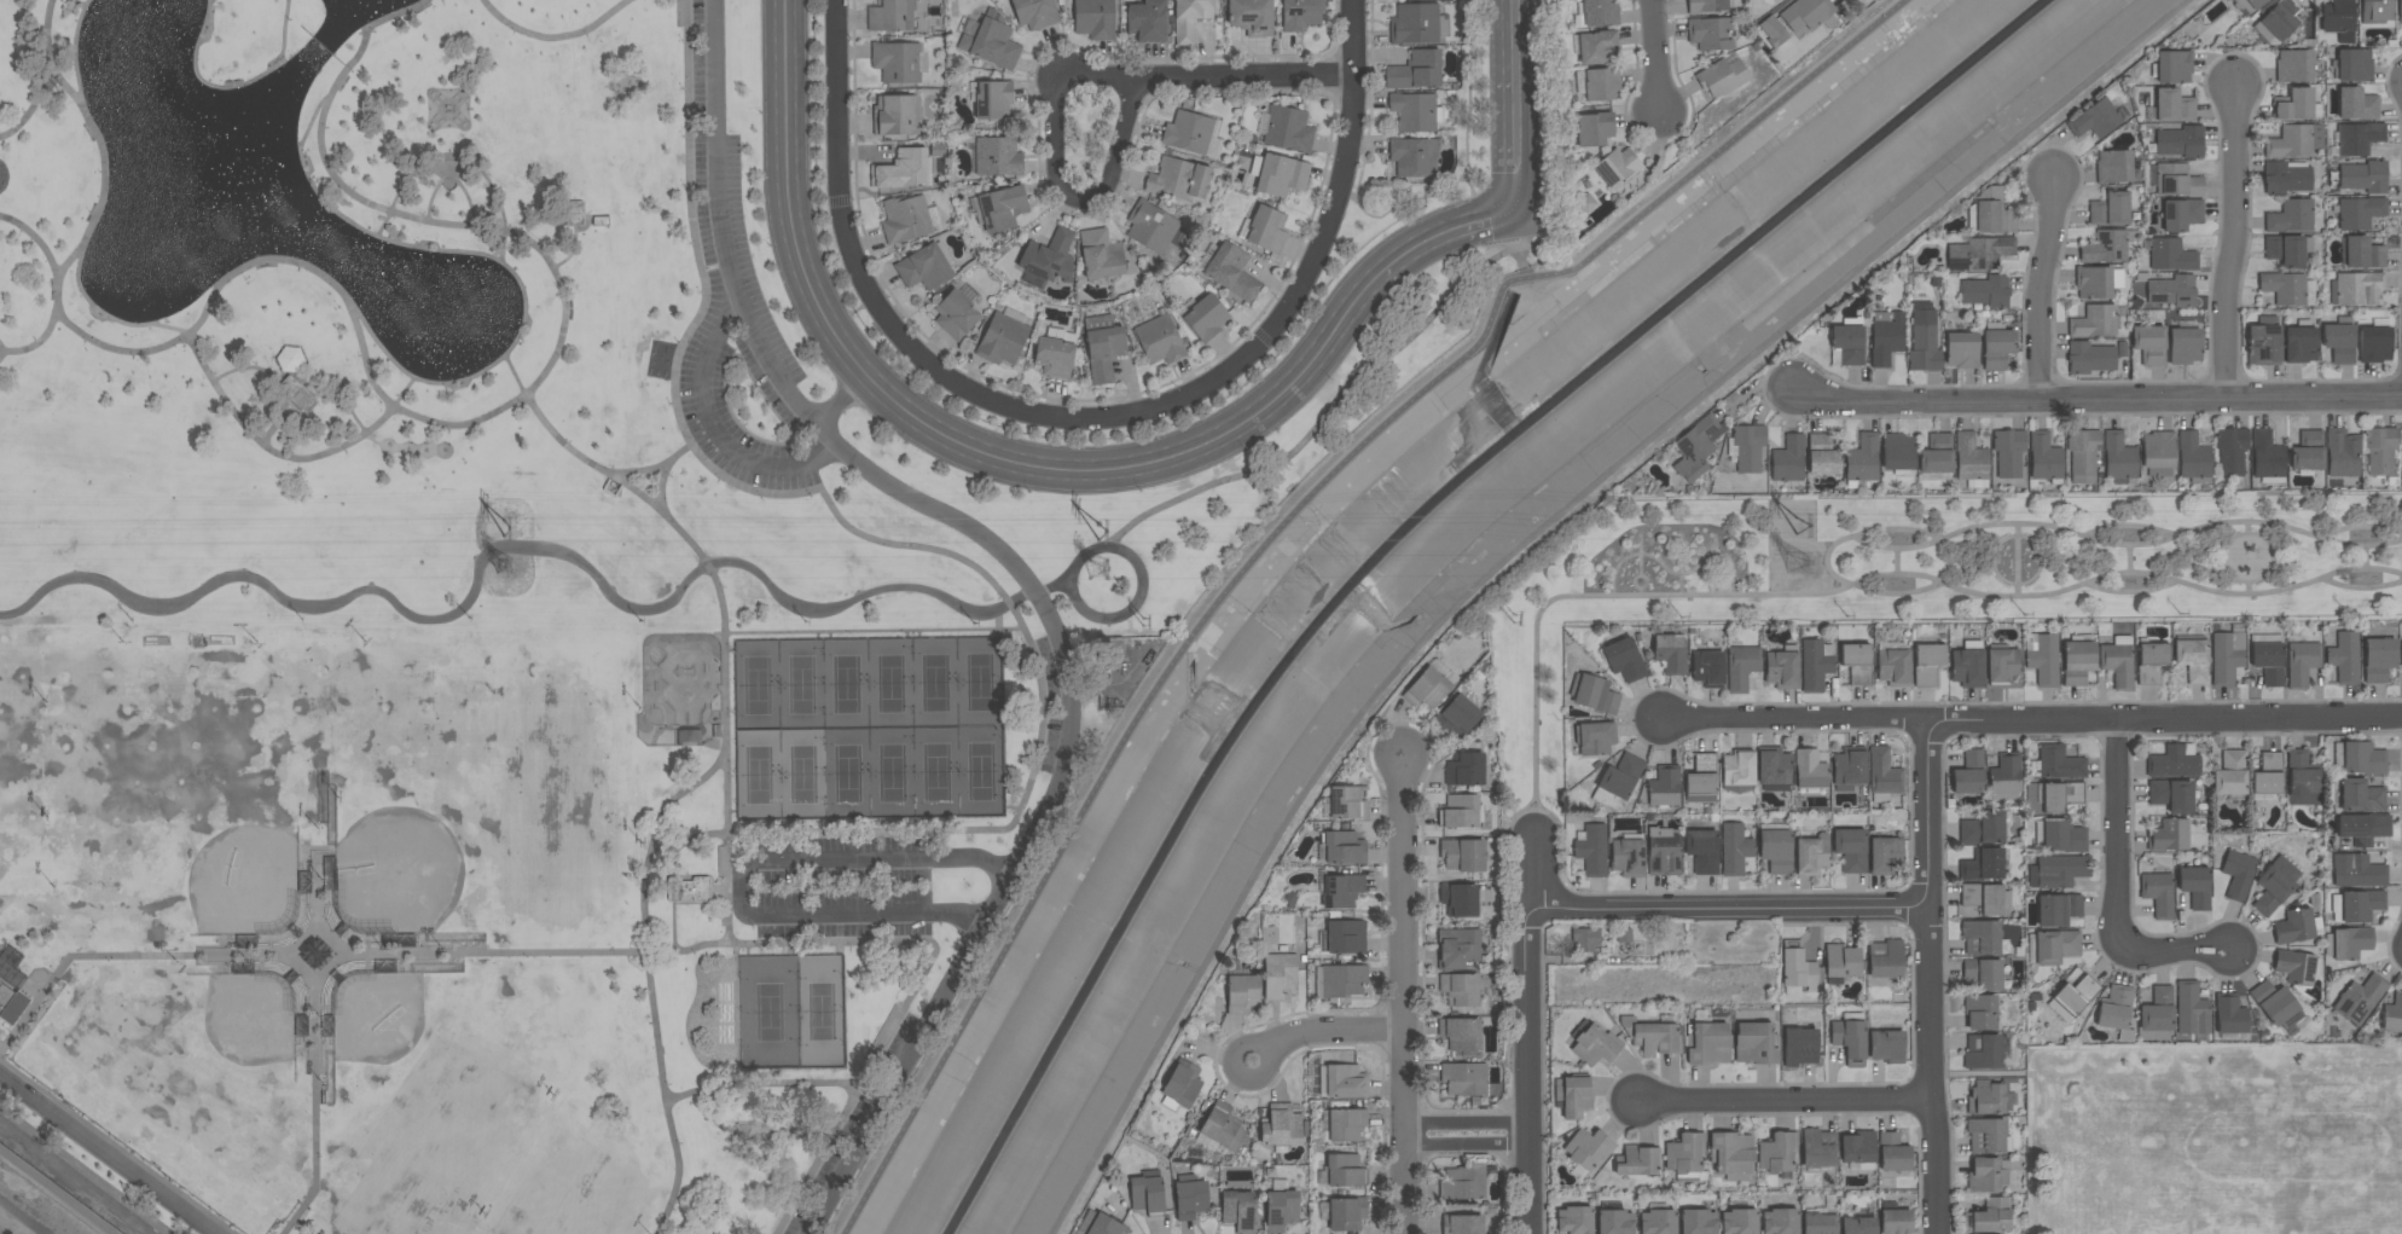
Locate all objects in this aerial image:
road: (214, 1)
road: (82, 2)
building: (2249, 5)
building: (1706, 6)
building: (2401, 11)
building: (1600, 12)
building: (1035, 13)
building: (2377, 13)
building: (1300, 15)
building: (1805, 15)
building: (887, 16)
building: (1251, 17)
building: (1095, 18)
building: (1190, 18)
building: (2339, 19)
building: (1147, 21)
building: (2279, 22)
building: (1415, 24)
building: (1710, 33)
dam: (309, 34)
road: (1514, 35)
road: (553, 37)
building: (992, 41)
building: (1597, 47)
dam: (332, 56)
road: (53, 58)
road: (1658, 58)
building: (897, 62)
building: (2354, 65)
building: (2172, 66)
building: (2294, 66)
building: (1415, 70)
road: (1062, 73)
building: (1723, 76)
road: (1243, 79)
building: (1601, 83)
road: (236, 86)
building: (993, 99)
road: (37, 102)
building: (2356, 104)
building: (2297, 105)
building: (2174, 106)
building: (1414, 111)
building: (897, 115)
building: (2094, 118)
building: (1288, 128)
building: (1595, 129)
building: (1188, 132)
building: (2357, 138)
road: (1515, 141)
building: (2181, 141)
building: (2294, 141)
building: (998, 156)
building: (1414, 156)
road: (462, 158)
building: (1617, 167)
building: (2114, 167)
building: (901, 169)
building: (1281, 175)
building: (2287, 176)
building: (2365, 176)
road: (454, 178)
building: (1179, 179)
building: (2175, 180)
building: (1586, 203)
road: (100, 205)
building: (1002, 208)
building: (2111, 209)
building: (574, 213)
building: (2360, 213)
building: (2181, 214)
building: (2291, 216)
building: (1995, 218)
building: (907, 219)
parking lot: (730, 221)
building: (1151, 226)
building: (1266, 230)
road: (1443, 232)
road: (1521, 244)
road: (2233, 244)
building: (2108, 245)
road: (570, 249)
building: (2288, 250)
building: (1979, 253)
building: (2362, 253)
building: (1101, 254)
building: (2170, 254)
building: (1049, 257)
building: (924, 267)
building: (1232, 272)
building: (2098, 282)
road: (524, 285)
road: (2041, 289)
building: (2288, 289)
building: (2357, 289)
building: (1986, 291)
building: (2172, 291)
road: (568, 300)
road: (57, 315)
building: (956, 315)
building: (1206, 318)
road: (68, 321)
building: (2094, 321)
building: (1886, 337)
building: (1160, 338)
building: (1002, 340)
building: (2340, 341)
building: (2375, 341)
building: (1851, 342)
building: (2264, 342)
building: (2301, 343)
building: (1924, 344)
building: (2149, 344)
building: (1997, 346)
building: (2185, 346)
building: (1103, 347)
building: (1962, 349)
road: (2, 352)
building: (1056, 352)
building: (2089, 358)
building: (290, 359)
road: (279, 380)
road: (343, 386)
building: (296, 395)
road: (841, 400)
road: (2099, 401)
parking lot: (729, 417)
road: (1084, 421)
road: (713, 430)
road: (955, 441)
building: (1696, 447)
building: (1747, 447)
building: (2380, 450)
building: (2232, 451)
building: (2308, 451)
building: (2009, 452)
building: (2158, 452)
building: (1898, 453)
building: (2343, 453)
building: (1822, 454)
building: (1937, 454)
building: (2083, 454)
road: (286, 456)
building: (2268, 457)
building: (2046, 458)
building: (2119, 458)
building: (2194, 458)
building: (2401, 458)
building: (1862, 459)
building: (1788, 462)
building: (1971, 462)
road: (667, 464)
road: (637, 473)
building: (2400, 477)
power tower: (1804, 526)
road: (1281, 527)
road: (2129, 528)
road: (2361, 528)
power tower: (510, 529)
road: (2250, 531)
power tower: (1108, 534)
road: (1682, 540)
road: (1677, 548)
road: (2125, 548)
road: (907, 549)
road: (1716, 549)
road: (1642, 555)
road: (2129, 558)
road: (2365, 558)
road: (2018, 561)
road: (1827, 562)
road: (1896, 562)
road: (1713, 567)
road: (2273, 567)
power tower: (1799, 568)
power tower: (510, 569)
road: (1676, 573)
power tower: (1097, 575)
road: (1682, 577)
road: (1638, 578)
park: (1922, 578)
road: (1858, 580)
road: (1716, 586)
road: (2018, 586)
road: (1029, 587)
road: (2249, 590)
road: (1641, 592)
road: (2359, 592)
road: (776, 595)
road: (2129, 595)
road: (721, 606)
road: (1129, 610)
park: (509, 628)
building: (1110, 648)
building: (1670, 653)
building: (2401, 653)
building: (2226, 656)
building: (2344, 657)
building: (1624, 659)
building: (2042, 659)
building: (2192, 659)
building: (2378, 659)
building: (2077, 661)
building: (2117, 661)
building: (1856, 662)
building: (2151, 662)
building: (2268, 662)
building: (2301, 662)
building: (1815, 664)
building: (1927, 664)
building: (2002, 664)
building: (1892, 666)
building: (1707, 667)
building: (1741, 667)
building: (1967, 667)
building: (1781, 670)
road: (1096, 680)
building: (1427, 688)
park: (679, 690)
building: (1595, 695)
parking lot: (1050, 706)
building: (1457, 716)
road: (2031, 724)
park: (870, 730)
building: (1595, 737)
building: (2362, 758)
building: (2174, 761)
park: (13, 763)
building: (2058, 763)
building: (1847, 769)
building: (1464, 770)
building: (1773, 770)
building: (1809, 770)
building: (1737, 772)
building: (1882, 772)
building: (1968, 774)
building: (2229, 774)
building: (1620, 776)
building: (2267, 777)
building: (1701, 778)
building: (2004, 778)
building: (2301, 780)
building: (1663, 788)
park: (478, 794)
building: (2171, 795)
building: (2360, 795)
building: (2073, 796)
building: (2050, 798)
building: (1347, 803)
building: (1460, 811)
park: (188, 824)
building: (2362, 828)
building: (1984, 829)
building: (2169, 835)
building: (2061, 836)
road: (2117, 836)
building: (1344, 847)
building: (1734, 848)
building: (1850, 848)
building: (1591, 850)
building: (1701, 850)
building: (1663, 851)
building: (1775, 851)
building: (1463, 854)
building: (1884, 854)
building: (1810, 856)
building: (1626, 857)
road: (672, 861)
building: (1983, 865)
building: (2055, 871)
building: (2357, 871)
road: (741, 873)
building: (2236, 874)
building: (2274, 885)
building: (2194, 886)
parking lot: (842, 887)
building: (689, 888)
building: (1341, 891)
building: (2157, 893)
building: (1983, 898)
building: (1461, 899)
building: (2355, 905)
building: (2056, 909)
road: (1731, 910)
road: (672, 926)
building: (2293, 927)
building: (1342, 937)
building: (1982, 937)
building: (1584, 939)
building: (2351, 942)
building: (2050, 946)
building: (1457, 948)
road: (2181, 951)
road: (608, 956)
building: (1885, 958)
building: (1840, 961)
building: (2293, 967)
building: (1797, 969)
building: (1280, 972)
building: (1982, 974)
road: (1930, 979)
building: (1342, 980)
road: (649, 983)
building: (1460, 989)
building: (1242, 993)
road: (1403, 995)
building: (2072, 997)
building: (2357, 998)
building: (11, 1003)
building: (2275, 1004)
building: (2114, 1007)
building: (2191, 1009)
building: (2157, 1010)
park: (768, 1012)
park: (820, 1012)
building: (1979, 1012)
building: (2392, 1014)
building: (2229, 1016)
road: (1532, 1032)
road: (1322, 1033)
building: (1461, 1033)
building: (1652, 1037)
building: (1849, 1037)
road: (2, 1043)
building: (1706, 1043)
building: (1753, 1044)
building: (1592, 1045)
building: (1799, 1047)
building: (1886, 1047)
road: (317, 1049)
building: (1982, 1051)
park: (197, 1064)
building: (1464, 1081)
building: (1346, 1082)
road: (778, 1084)
building: (1180, 1085)
park: (440, 1088)
building: (1576, 1097)
building: (1985, 1097)
road: (1785, 1100)
road: (709, 1114)
parking lot: (848, 1125)
building: (1344, 1125)
building: (1281, 1126)
building: (1223, 1128)
building: (1985, 1135)
road: (1468, 1136)
road: (120, 1145)
building: (1586, 1148)
building: (1817, 1148)
building: (1857, 1149)
road: (2035, 1151)
building: (1730, 1153)
building: (1775, 1153)
building: (1892, 1153)
building: (1682, 1154)
road: (104, 1157)
building: (1637, 1161)
building: (1345, 1171)
building: (1986, 1175)
building: (1463, 1183)
building: (1147, 1193)
building: (1190, 1198)
building: (1281, 1206)
building: (1238, 1210)
building: (1345, 1213)
building: (1989, 1216)
railway: (22, 1217)
building: (1573, 1221)
building: (1737, 1221)
building: (1779, 1221)
building: (1895, 1221)
building: (1614, 1222)
building: (1657, 1222)
building: (1698, 1222)
building: (1818, 1223)
building: (1100, 1224)
building: (1462, 1224)
building: (1857, 1226)

